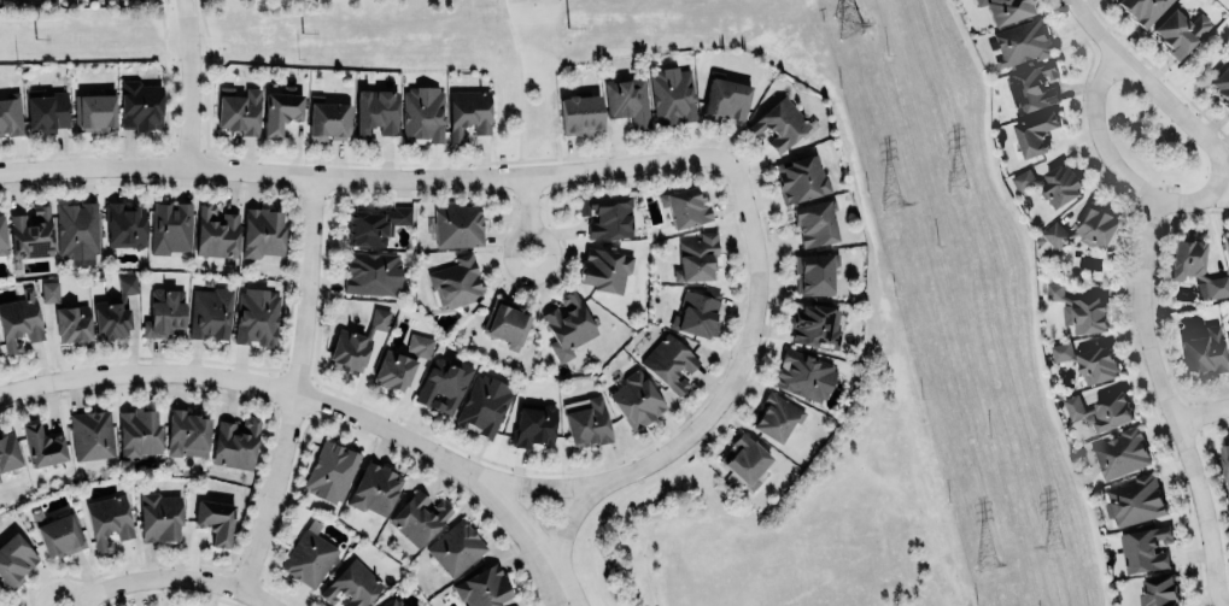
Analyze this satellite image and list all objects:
building: (1006, 10)
building: (1142, 10)
power tower: (848, 24)
building: (1178, 30)
building: (1022, 42)
road: (1199, 66)
road: (186, 83)
road: (1146, 83)
building: (1222, 84)
road: (517, 87)
building: (1032, 87)
building: (671, 95)
building: (726, 99)
building: (627, 101)
building: (140, 105)
building: (238, 110)
building: (280, 110)
building: (47, 111)
building: (94, 111)
building: (375, 112)
building: (468, 112)
building: (10, 113)
building: (422, 113)
building: (579, 113)
building: (329, 119)
building: (780, 124)
building: (1035, 133)
road: (1118, 170)
building: (800, 177)
road: (365, 178)
power tower: (955, 181)
building: (1052, 184)
power tower: (893, 202)
building: (685, 206)
road: (528, 214)
building: (607, 214)
building: (814, 222)
building: (124, 224)
building: (374, 224)
building: (457, 225)
building: (170, 226)
building: (1085, 229)
building: (77, 230)
building: (216, 231)
building: (262, 231)
building: (31, 234)
building: (2, 236)
building: (1225, 245)
building: (696, 258)
building: (1195, 266)
building: (604, 269)
building: (371, 272)
building: (814, 272)
building: (456, 281)
building: (49, 290)
building: (115, 310)
building: (1079, 311)
building: (697, 312)
building: (164, 313)
building: (210, 313)
building: (256, 317)
building: (379, 318)
building: (19, 319)
building: (72, 322)
building: (505, 322)
building: (568, 325)
building: (814, 325)
building: (1228, 339)
building: (419, 345)
building: (350, 349)
building: (1202, 351)
building: (1061, 352)
building: (669, 361)
building: (1096, 364)
building: (393, 370)
building: (803, 373)
building: (443, 384)
road: (299, 387)
road: (308, 395)
building: (634, 400)
road: (722, 400)
road: (1170, 404)
building: (484, 405)
building: (1100, 411)
road: (1202, 412)
building: (774, 417)
building: (589, 423)
building: (533, 424)
building: (139, 433)
building: (186, 434)
building: (92, 435)
building: (235, 442)
building: (42, 446)
building: (7, 452)
building: (1119, 453)
building: (745, 459)
building: (1225, 461)
building: (330, 471)
road: (540, 484)
building: (374, 488)
building: (1134, 500)
building: (159, 516)
building: (419, 518)
building: (216, 519)
building: (107, 520)
building: (57, 533)
power tower: (1048, 543)
building: (456, 548)
building: (1145, 549)
building: (309, 555)
building: (14, 559)
power tower: (989, 563)
road: (174, 577)
building: (350, 586)
building: (482, 587)
road: (552, 592)
road: (562, 592)
building: (1158, 592)
building: (393, 602)

